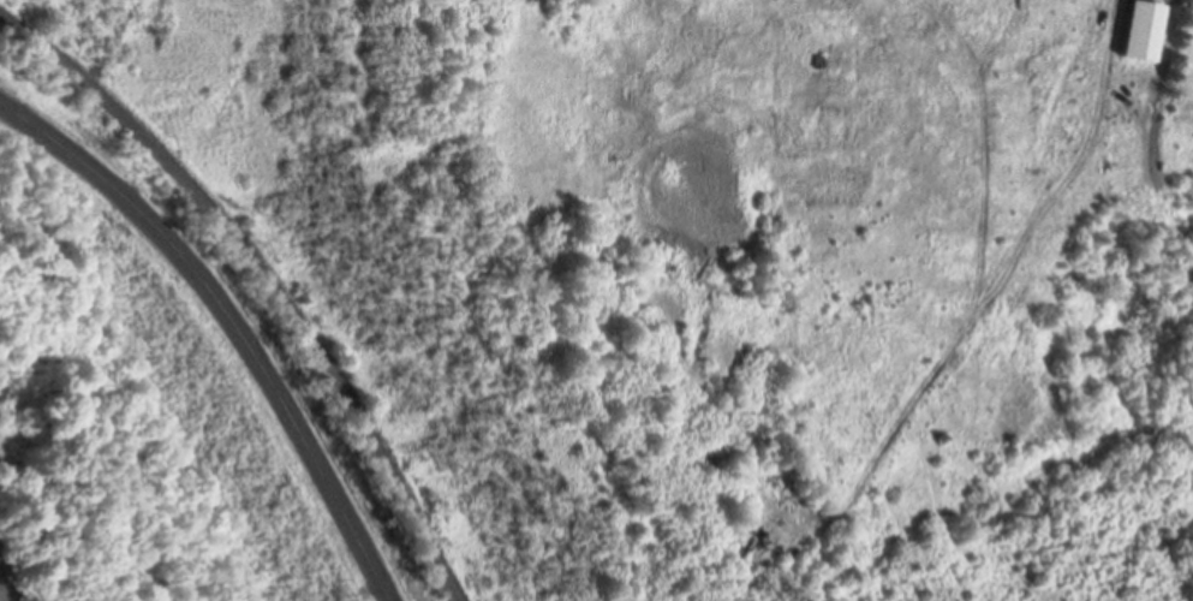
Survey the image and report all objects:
building: (1145, 34)
road: (64, 149)
road: (268, 275)
road: (275, 386)
park: (137, 419)

